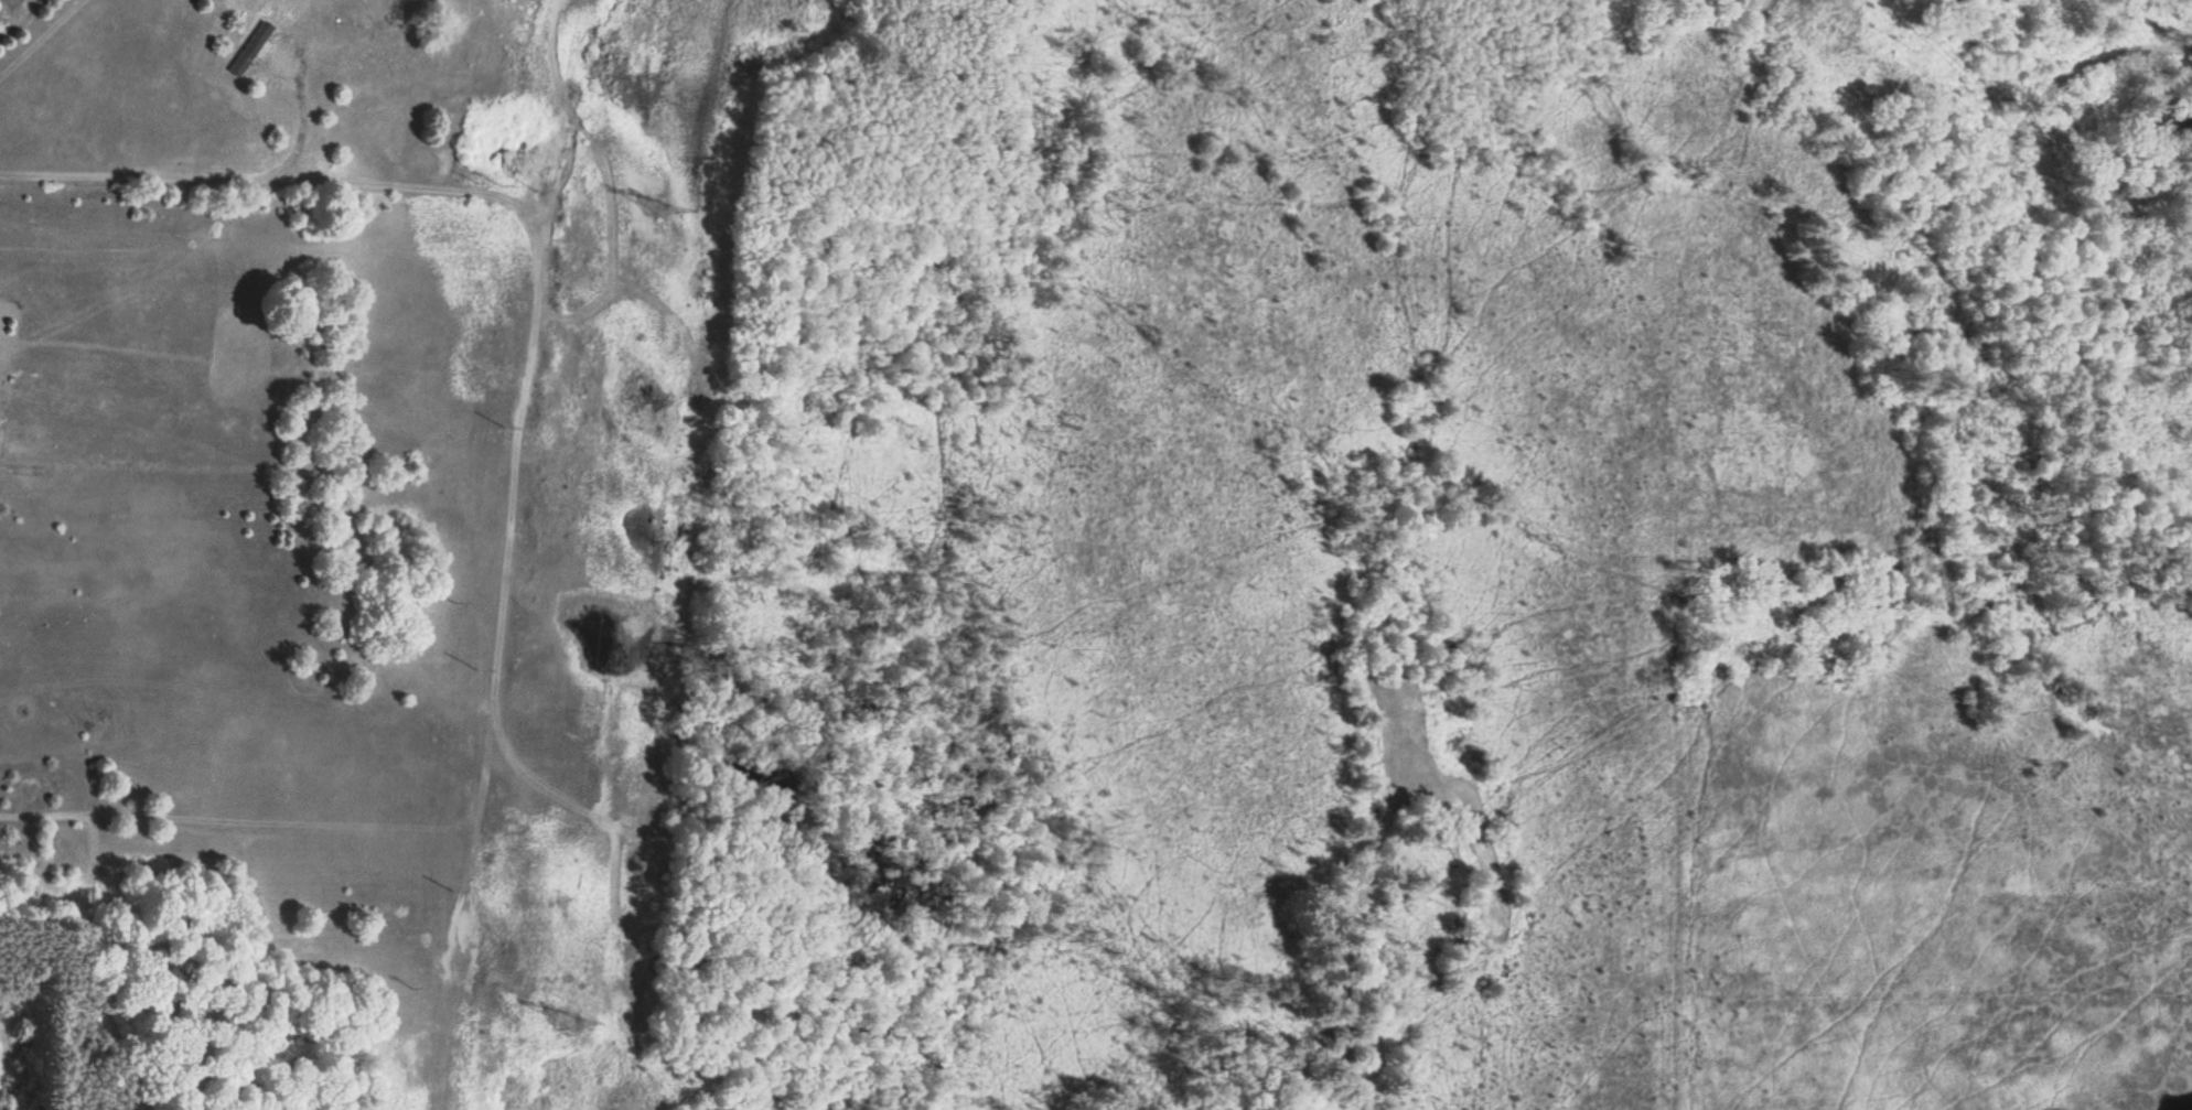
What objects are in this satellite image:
building: (251, 47)
power tower: (658, 206)
power tower: (571, 1017)

